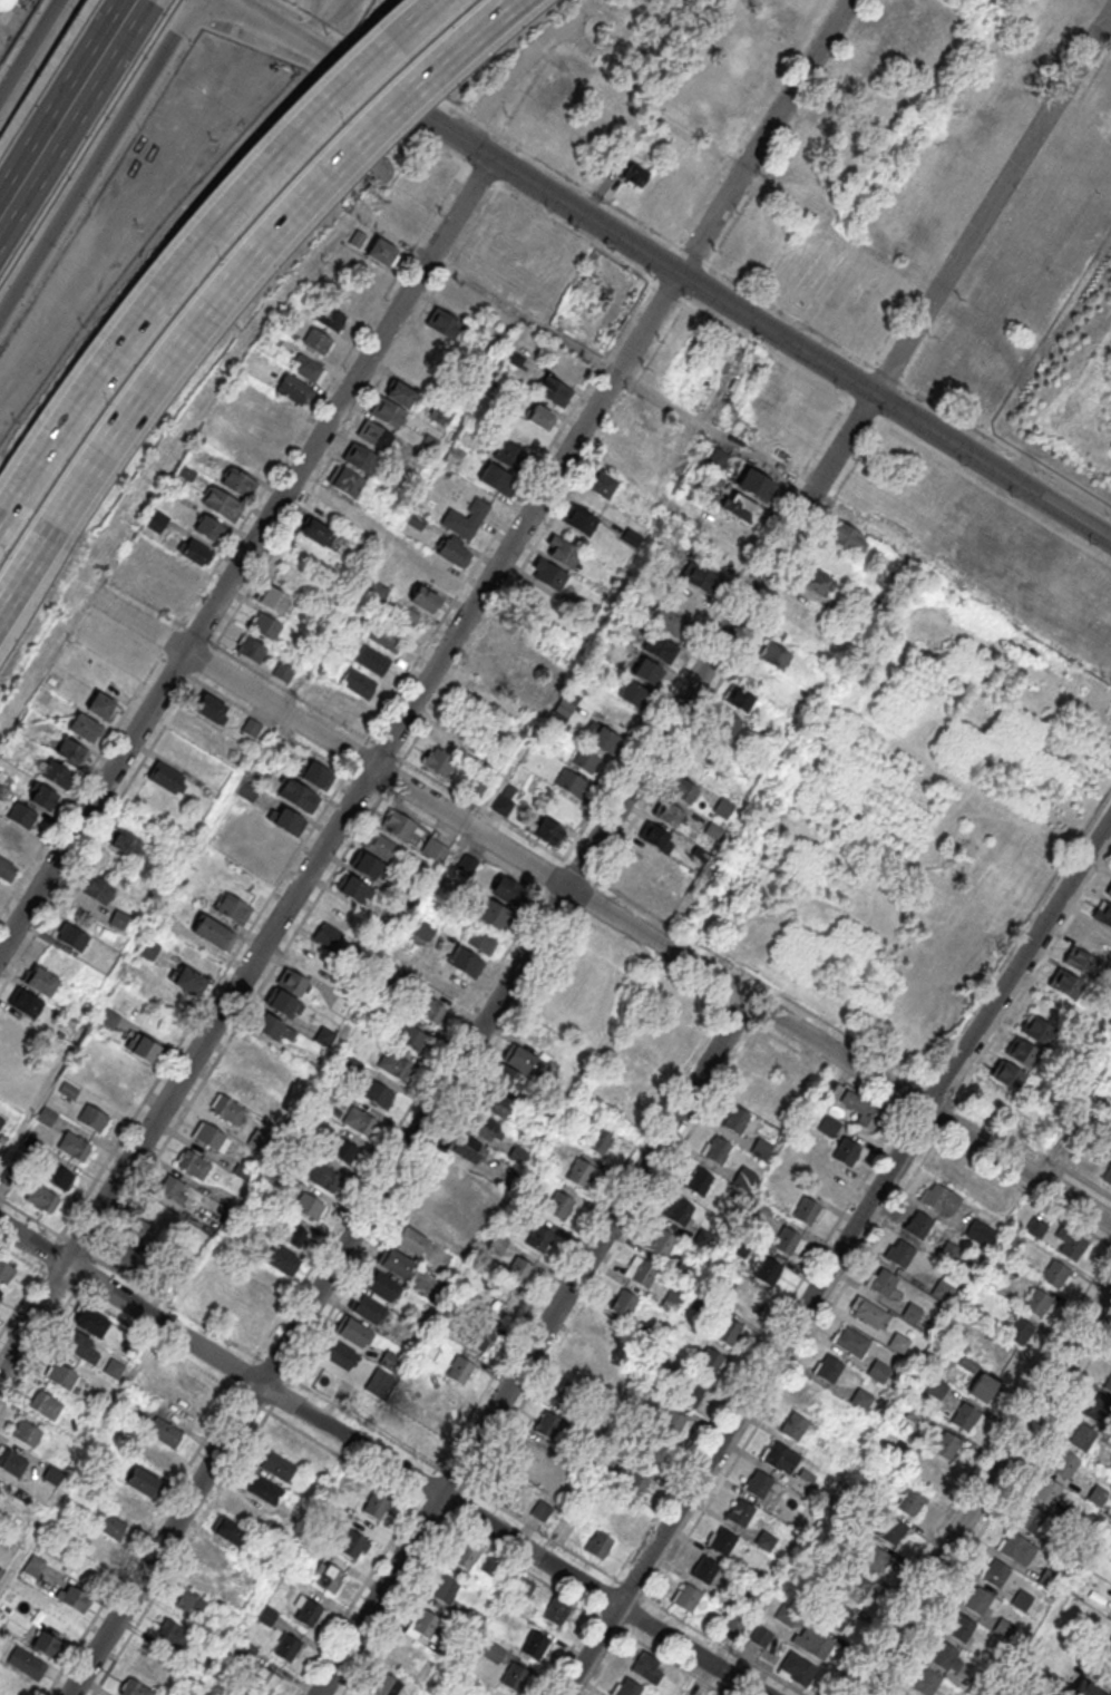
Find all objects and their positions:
building: (4, 3)
road: (319, 22)
road: (30, 47)
road: (66, 107)
road: (96, 158)
building: (635, 174)
road: (748, 177)
road: (608, 182)
power tower: (372, 202)
road: (991, 202)
road: (203, 233)
building: (357, 240)
road: (264, 243)
building: (381, 253)
road: (671, 269)
building: (331, 318)
building: (447, 324)
building: (316, 340)
building: (430, 347)
building: (308, 368)
building: (422, 372)
building: (294, 389)
wastewater plant: (1070, 390)
building: (553, 391)
building: (388, 412)
building: (539, 417)
building: (740, 423)
power tower: (733, 429)
building: (374, 435)
road: (731, 439)
building: (360, 457)
building: (511, 457)
building: (498, 479)
building: (344, 480)
building: (238, 481)
building: (600, 484)
building: (753, 485)
building: (222, 503)
road: (4, 504)
building: (741, 509)
building: (465, 517)
building: (579, 518)
building: (209, 527)
building: (315, 532)
building: (730, 533)
building: (847, 537)
building: (400, 544)
building: (193, 549)
building: (562, 551)
building: (454, 553)
road: (245, 555)
building: (184, 569)
road: (28, 572)
building: (548, 574)
building: (440, 575)
building: (702, 576)
building: (815, 581)
building: (272, 597)
building: (425, 597)
building: (401, 614)
building: (666, 620)
building: (265, 626)
building: (386, 636)
building: (504, 642)
building: (660, 646)
building: (252, 650)
building: (128, 652)
building: (774, 656)
building: (372, 660)
building: (490, 669)
building: (646, 671)
building: (283, 672)
building: (358, 682)
road: (423, 684)
building: (632, 692)
building: (739, 700)
building: (101, 704)
building: (344, 705)
building: (212, 709)
building: (85, 727)
building: (723, 727)
building: (251, 729)
building: (448, 739)
building: (603, 740)
building: (72, 751)
building: (232, 752)
building: (584, 759)
building: (438, 762)
road: (243, 769)
building: (57, 772)
building: (314, 775)
building: (689, 776)
building: (167, 778)
building: (572, 782)
building: (43, 796)
building: (299, 796)
building: (722, 809)
building: (22, 814)
building: (667, 814)
building: (285, 819)
park: (919, 820)
building: (401, 828)
building: (546, 829)
building: (713, 831)
building: (654, 836)
building: (10, 837)
building: (128, 845)
building: (381, 847)
building: (433, 851)
building: (467, 865)
building: (366, 866)
building: (7, 868)
building: (353, 888)
building: (97, 889)
building: (506, 889)
building: (1109, 889)
building: (233, 907)
road: (605, 910)
building: (1103, 912)
building: (493, 916)
building: (119, 919)
building: (423, 931)
building: (214, 932)
building: (328, 935)
building: (1094, 937)
building: (71, 938)
building: (479, 941)
building: (1080, 959)
building: (465, 962)
building: (188, 980)
building: (41, 981)
building: (1066, 983)
building: (289, 993)
building: (28, 1003)
building: (341, 1005)
building: (429, 1010)
road: (358, 1011)
building: (109, 1019)
building: (272, 1027)
building: (1036, 1029)
building: (324, 1036)
building: (412, 1039)
building: (662, 1042)
road: (469, 1043)
building: (142, 1046)
building: (1022, 1051)
building: (261, 1053)
building: (520, 1059)
building: (394, 1064)
building: (1007, 1073)
building: (641, 1074)
building: (291, 1082)
building: (754, 1089)
building: (378, 1093)
building: (116, 1094)
building: (493, 1101)
building: (621, 1107)
building: (226, 1109)
building: (863, 1109)
building: (94, 1118)
building: (735, 1119)
building: (359, 1121)
building: (479, 1123)
building: (212, 1137)
building: (600, 1139)
building: (75, 1146)
building: (465, 1147)
building: (343, 1148)
building: (761, 1148)
building: (717, 1149)
building: (847, 1150)
building: (193, 1163)
building: (451, 1169)
building: (952, 1170)
building: (578, 1171)
building: (1107, 1173)
building: (57, 1176)
building: (323, 1178)
building: (826, 1179)
building: (699, 1180)
building: (172, 1188)
building: (437, 1192)
building: (941, 1199)
building: (43, 1200)
building: (558, 1205)
building: (309, 1207)
building: (680, 1210)
building: (808, 1210)
building: (919, 1225)
building: (1036, 1227)
building: (140, 1231)
building: (981, 1231)
building: (293, 1235)
building: (1014, 1236)
building: (538, 1237)
building: (409, 1238)
building: (661, 1241)
building: (788, 1241)
building: (1073, 1245)
building: (900, 1254)
road: (837, 1257)
building: (125, 1258)
building: (280, 1259)
building: (393, 1261)
building: (997, 1265)
building: (518, 1270)
building: (768, 1270)
building: (7, 1273)
building: (644, 1273)
building: (1054, 1274)
building: (266, 1280)
building: (881, 1280)
building: (380, 1284)
building: (944, 1287)
building: (0, 1292)
building: (1037, 1302)
building: (624, 1304)
building: (366, 1306)
building: (496, 1306)
building: (868, 1312)
building: (90, 1322)
building: (352, 1329)
building: (1019, 1331)
building: (728, 1332)
building: (479, 1336)
building: (851, 1342)
building: (898, 1342)
building: (79, 1346)
road: (532, 1346)
building: (338, 1353)
building: (1001, 1358)
building: (709, 1363)
building: (589, 1364)
building: (113, 1368)
building: (458, 1368)
building: (829, 1370)
building: (879, 1371)
building: (60, 1375)
building: (1108, 1384)
building: (194, 1385)
building: (936, 1387)
building: (982, 1387)
building: (565, 1393)
building: (691, 1393)
building: (861, 1399)
building: (45, 1405)
building: (178, 1407)
building: (1099, 1410)
building: (916, 1414)
building: (964, 1418)
building: (671, 1422)
building: (547, 1424)
building: (795, 1426)
building: (166, 1432)
building: (26, 1433)
building: (419, 1433)
building: (1082, 1438)
building: (946, 1445)
building: (528, 1452)
building: (653, 1453)
building: (152, 1455)
building: (780, 1457)
road: (380, 1459)
building: (11, 1461)
building: (1064, 1464)
building: (277, 1465)
building: (929, 1473)
building: (53, 1474)
building: (142, 1480)
building: (803, 1481)
building: (759, 1483)
building: (635, 1484)
building: (263, 1488)
building: (0, 1490)
building: (507, 1491)
road: (981, 1491)
building: (1047, 1492)
building: (1097, 1494)
building: (910, 1502)
building: (376, 1503)
building: (128, 1504)
building: (237, 1509)
building: (540, 1511)
building: (741, 1512)
building: (1030, 1519)
building: (108, 1523)
building: (228, 1530)
building: (891, 1531)
building: (766, 1540)
building: (722, 1541)
building: (598, 1543)
building: (92, 1546)
building: (352, 1546)
building: (1017, 1549)
building: (214, 1553)
building: (464, 1559)
building: (874, 1559)
building: (33, 1566)
building: (705, 1570)
building: (995, 1574)
building: (328, 1578)
building: (204, 1582)
building: (855, 1585)
building: (524, 1587)
building: (444, 1589)
building: (72, 1597)
building: (686, 1598)
building: (1022, 1599)
building: (978, 1600)
building: (189, 1604)
building: (556, 1611)
building: (309, 1614)
building: (786, 1614)
building: (265, 1616)
building: (838, 1616)
building: (420, 1626)
building: (1003, 1627)
building: (961, 1628)
building: (173, 1633)
building: (761, 1636)
building: (813, 1643)
building: (47, 1644)
building: (536, 1644)
building: (288, 1647)
building: (1108, 1647)
building: (243, 1652)
building: (944, 1656)
building: (25, 1662)
building: (154, 1662)
building: (646, 1667)
building: (797, 1668)
building: (515, 1676)
building: (264, 1682)
building: (926, 1682)
building: (386, 1686)
building: (134, 1687)
building: (628, 1687)
building: (1088, 1687)
building: (501, 1694)
building: (905, 1694)

